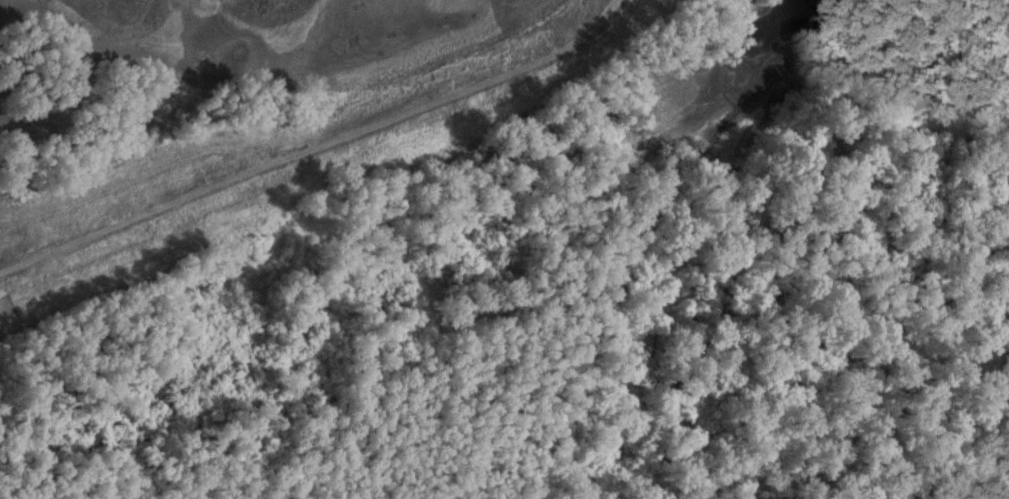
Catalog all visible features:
crop: (293, 33)
road: (314, 146)
crop: (12, 316)

